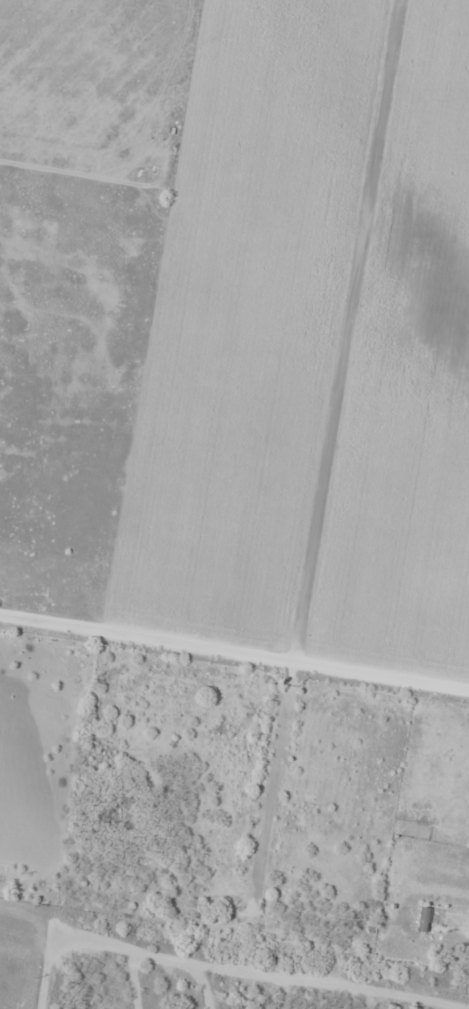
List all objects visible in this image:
building: (147, 857)
building: (443, 922)
road: (209, 975)

